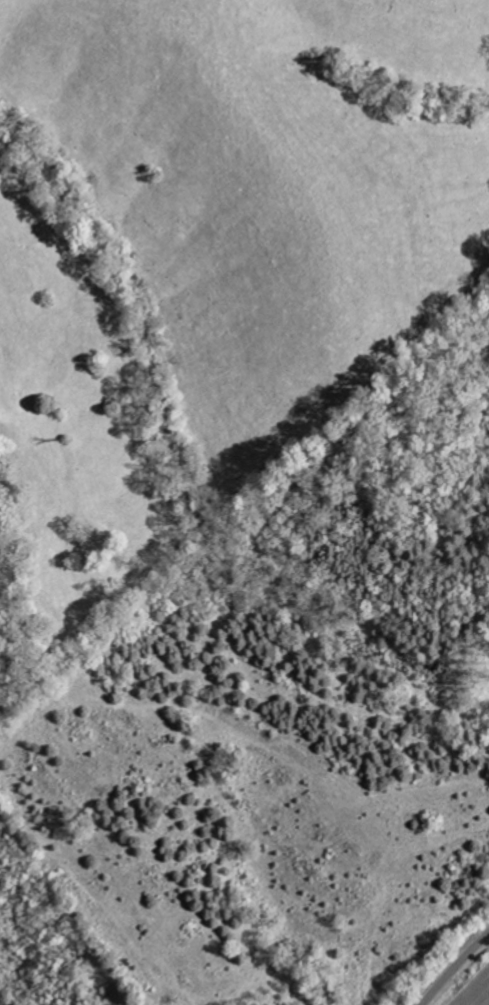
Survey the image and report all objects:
road: (455, 968)

